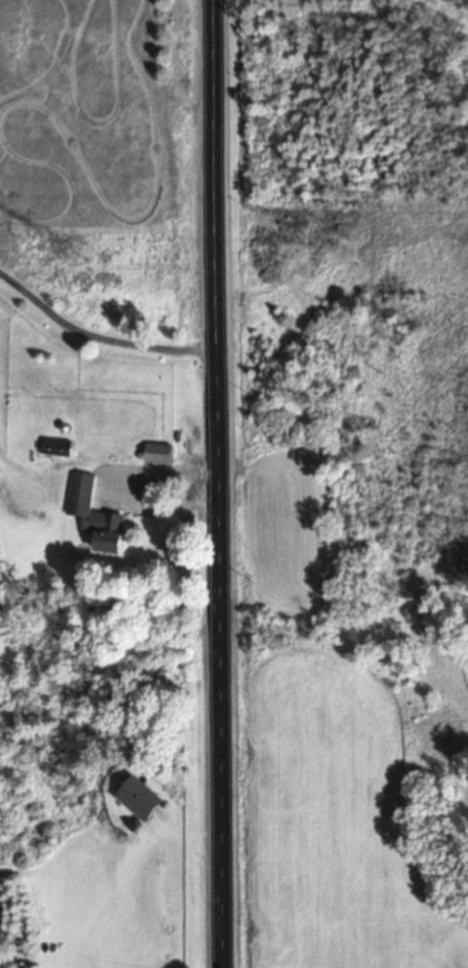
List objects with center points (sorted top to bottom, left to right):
power tower: (80, 263)
road: (96, 340)
building: (58, 448)
building: (159, 455)
road: (215, 484)
road: (127, 489)
building: (107, 531)
building: (140, 800)

